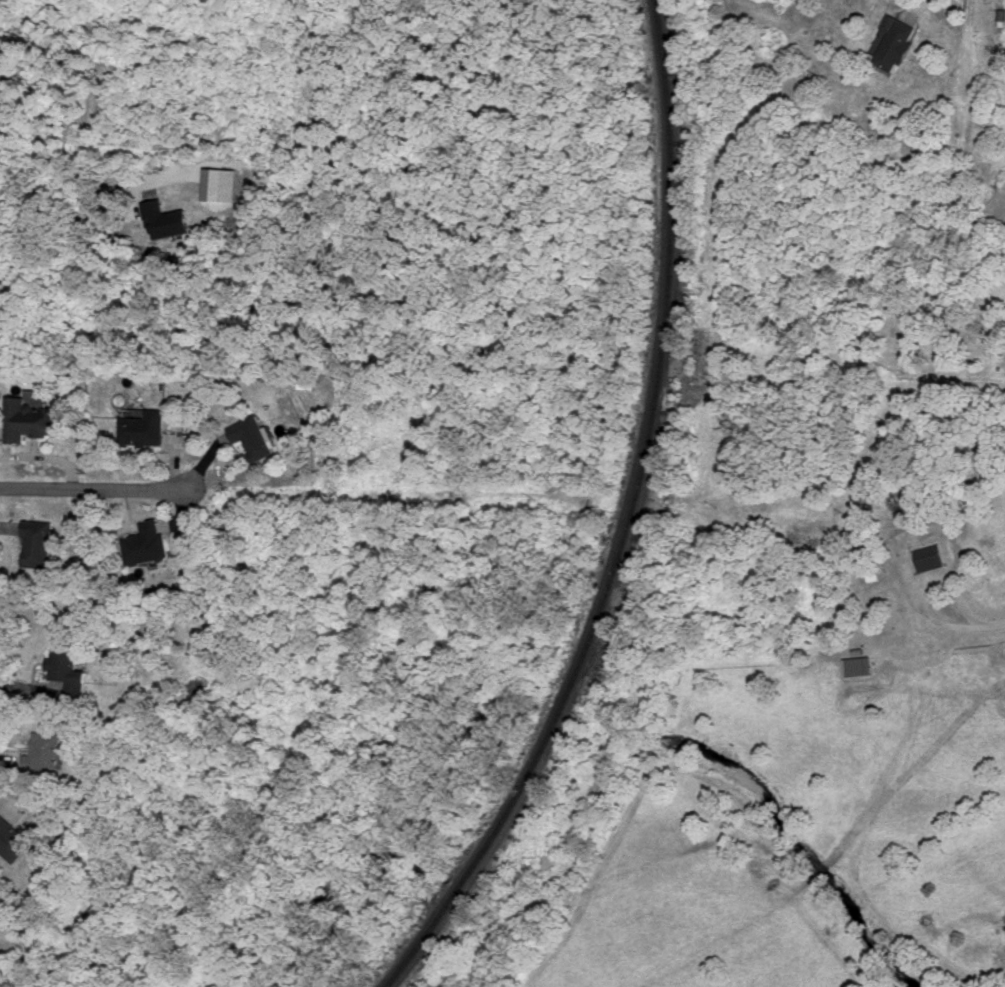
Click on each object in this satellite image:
road: (922, 8)
building: (1001, 13)
building: (897, 41)
building: (221, 183)
road: (77, 187)
building: (168, 218)
building: (30, 418)
building: (144, 427)
building: (256, 435)
road: (94, 489)
railway: (629, 522)
building: (39, 542)
building: (147, 542)
building: (930, 556)
road: (945, 584)
road: (989, 628)
building: (860, 665)
building: (69, 669)
building: (46, 750)
building: (15, 838)

